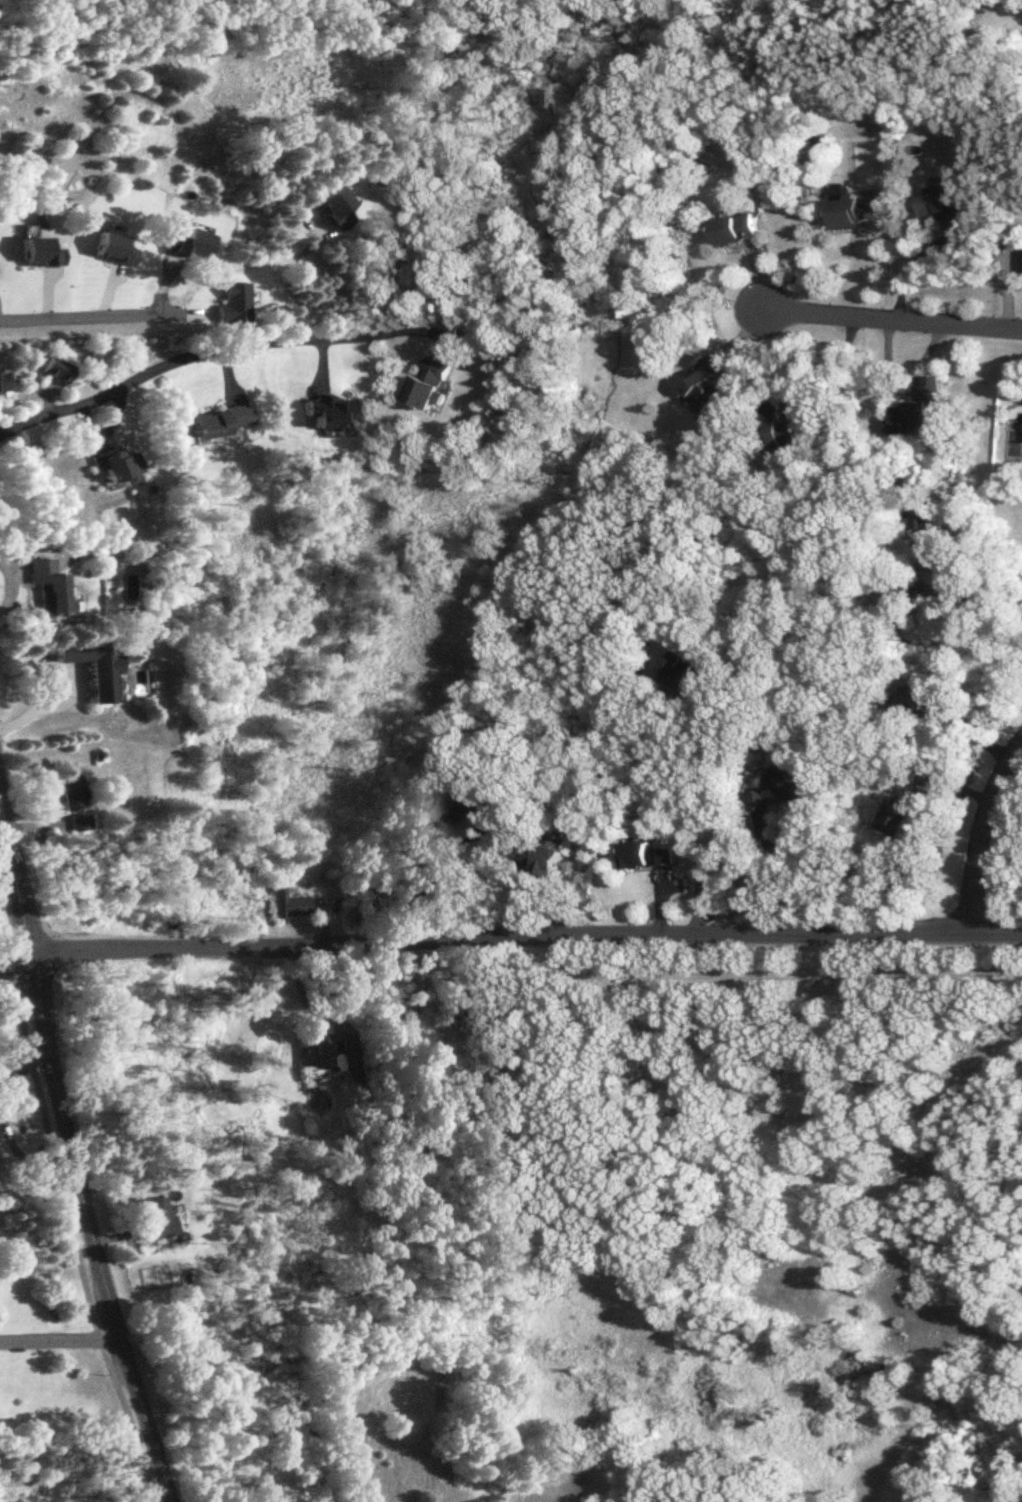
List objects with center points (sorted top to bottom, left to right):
building: (943, 206)
building: (852, 213)
building: (734, 230)
building: (1020, 261)
road: (218, 268)
road: (86, 315)
road: (891, 318)
road: (213, 348)
road: (833, 364)
building: (56, 367)
building: (4, 381)
building: (430, 382)
building: (702, 385)
building: (919, 409)
building: (333, 412)
building: (223, 420)
building: (785, 430)
building: (120, 464)
building: (929, 527)
road: (997, 570)
road: (10, 583)
building: (49, 586)
road: (990, 596)
building: (903, 601)
building: (93, 664)
building: (683, 669)
road: (39, 702)
building: (780, 789)
building: (75, 801)
building: (456, 806)
building: (901, 815)
road: (722, 820)
road: (981, 833)
building: (651, 855)
building: (543, 857)
road: (789, 872)
road: (429, 878)
building: (289, 903)
road: (523, 935)
road: (12, 959)
road: (317, 977)
building: (474, 1002)
building: (322, 1056)
road: (76, 1163)
road: (67, 1216)
building: (155, 1218)
road: (59, 1339)
road: (79, 1476)

